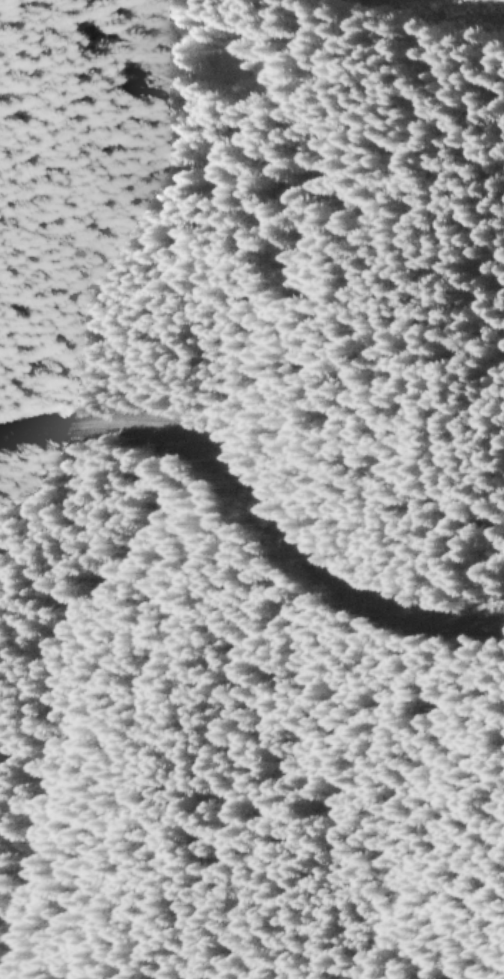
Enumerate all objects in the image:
road: (278, 659)

